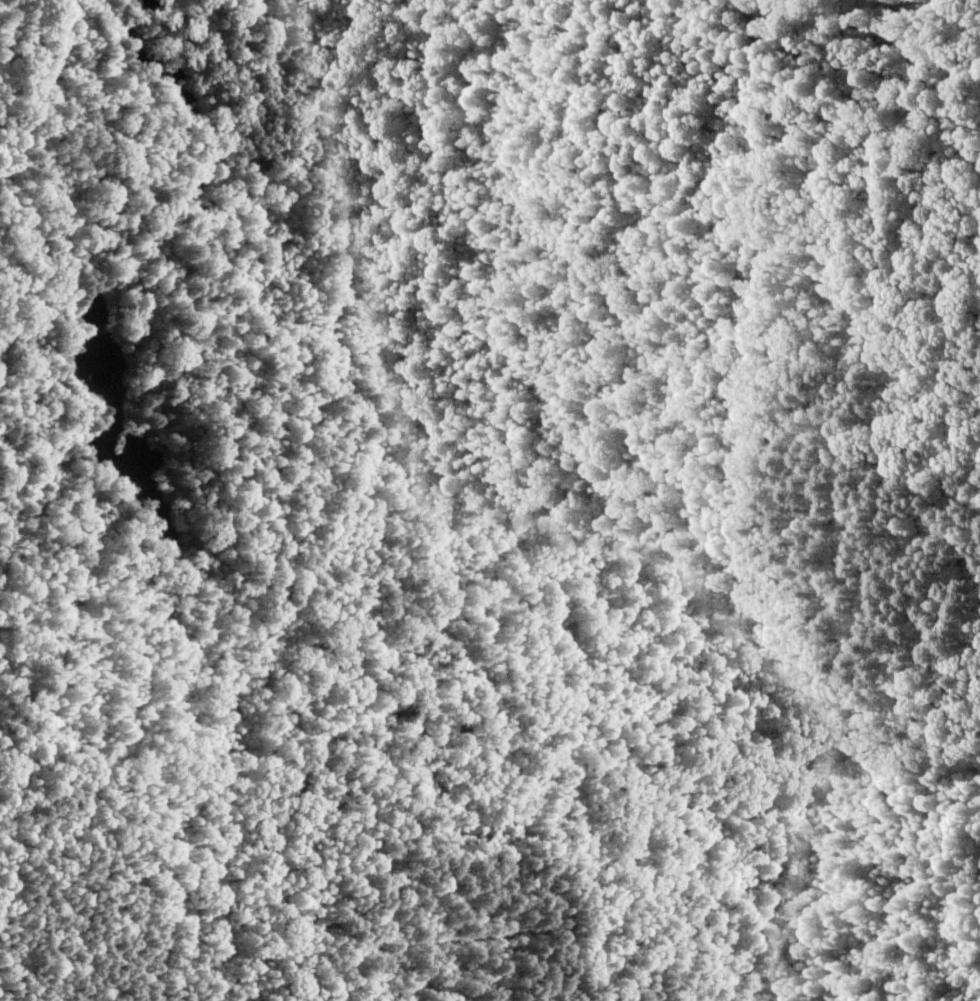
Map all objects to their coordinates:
road: (889, 989)

